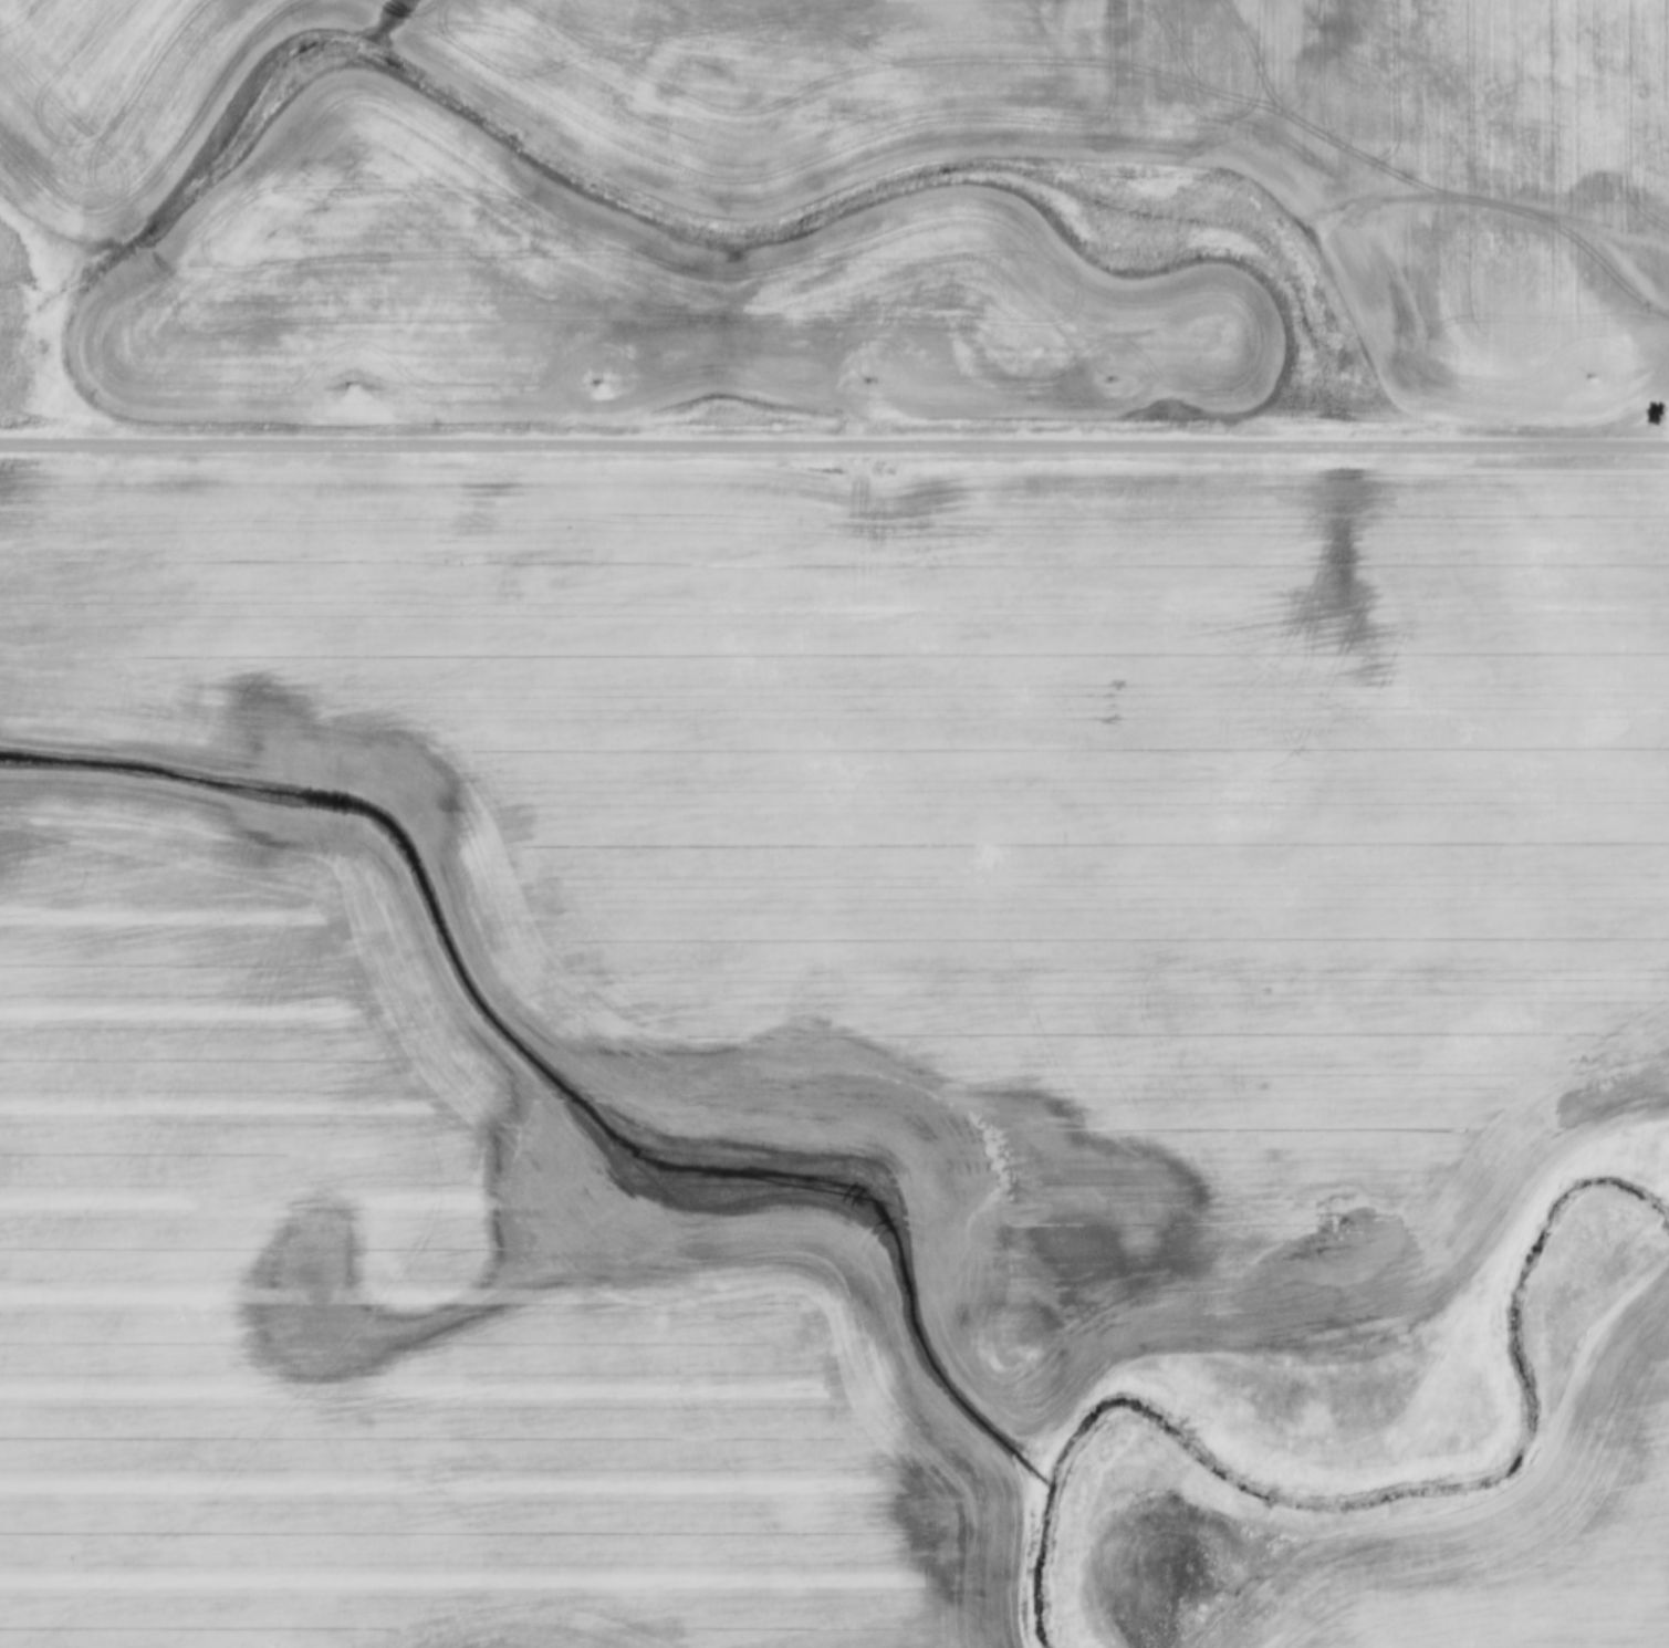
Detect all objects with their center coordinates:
road: (834, 438)

